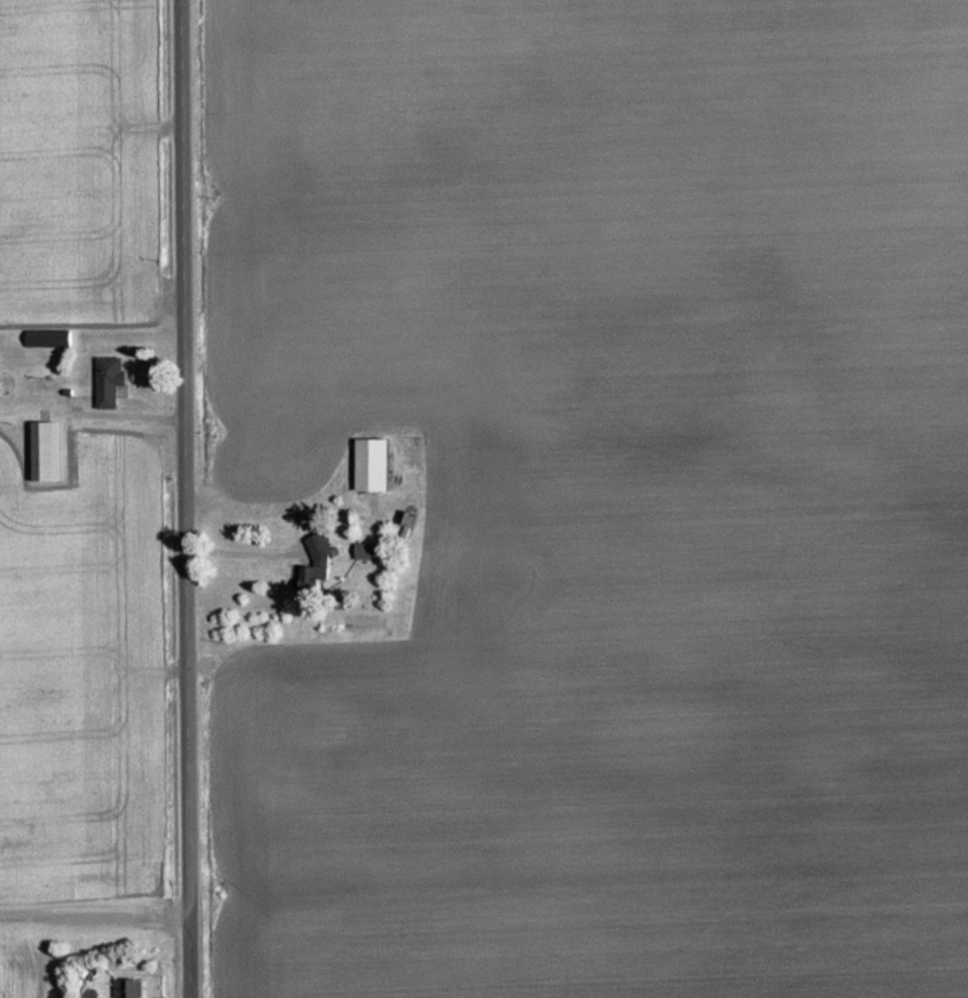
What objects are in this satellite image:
building: (51, 338)
building: (114, 380)
building: (42, 451)
building: (376, 465)
road: (189, 499)
building: (372, 551)
road: (249, 554)
building: (319, 565)
building: (133, 988)

